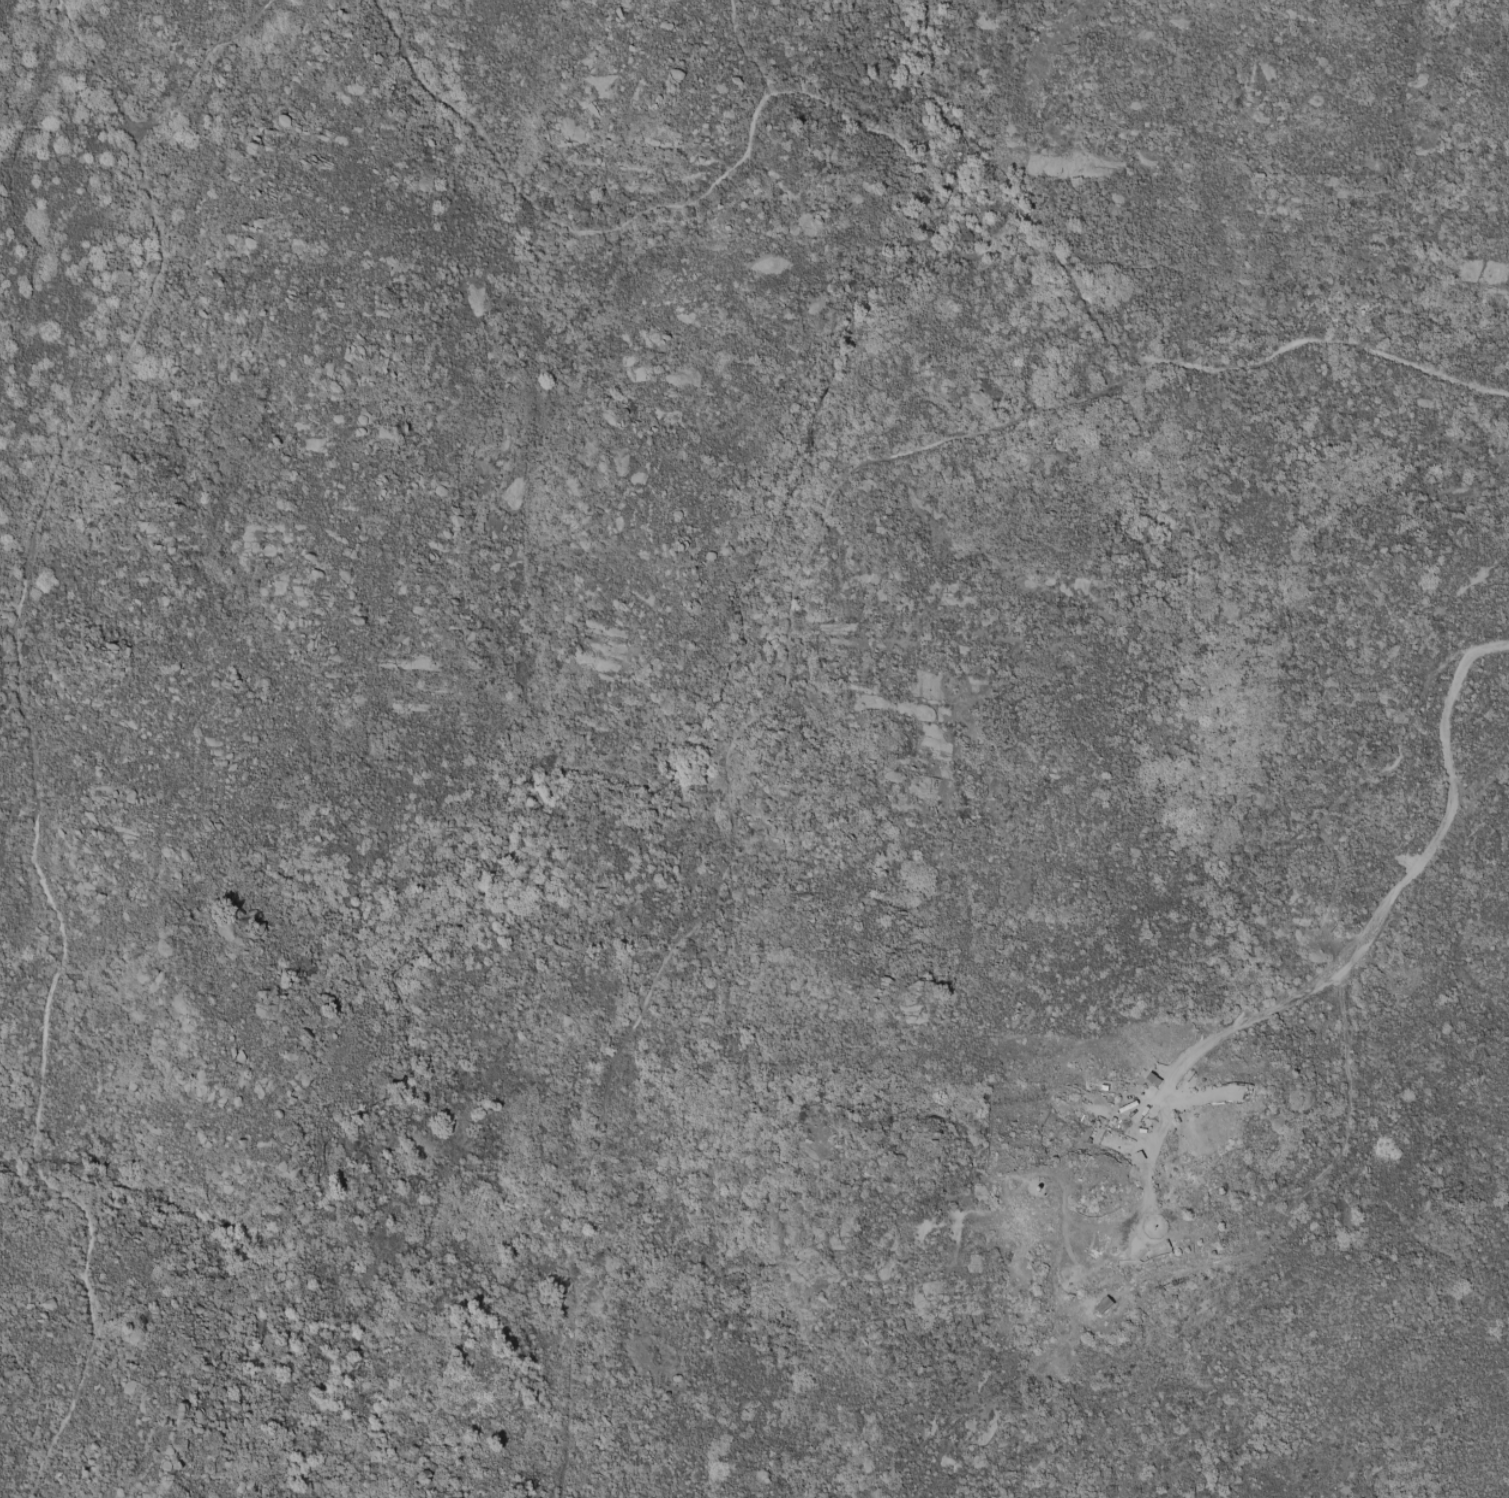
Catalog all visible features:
road: (1391, 891)
road: (1309, 1188)

